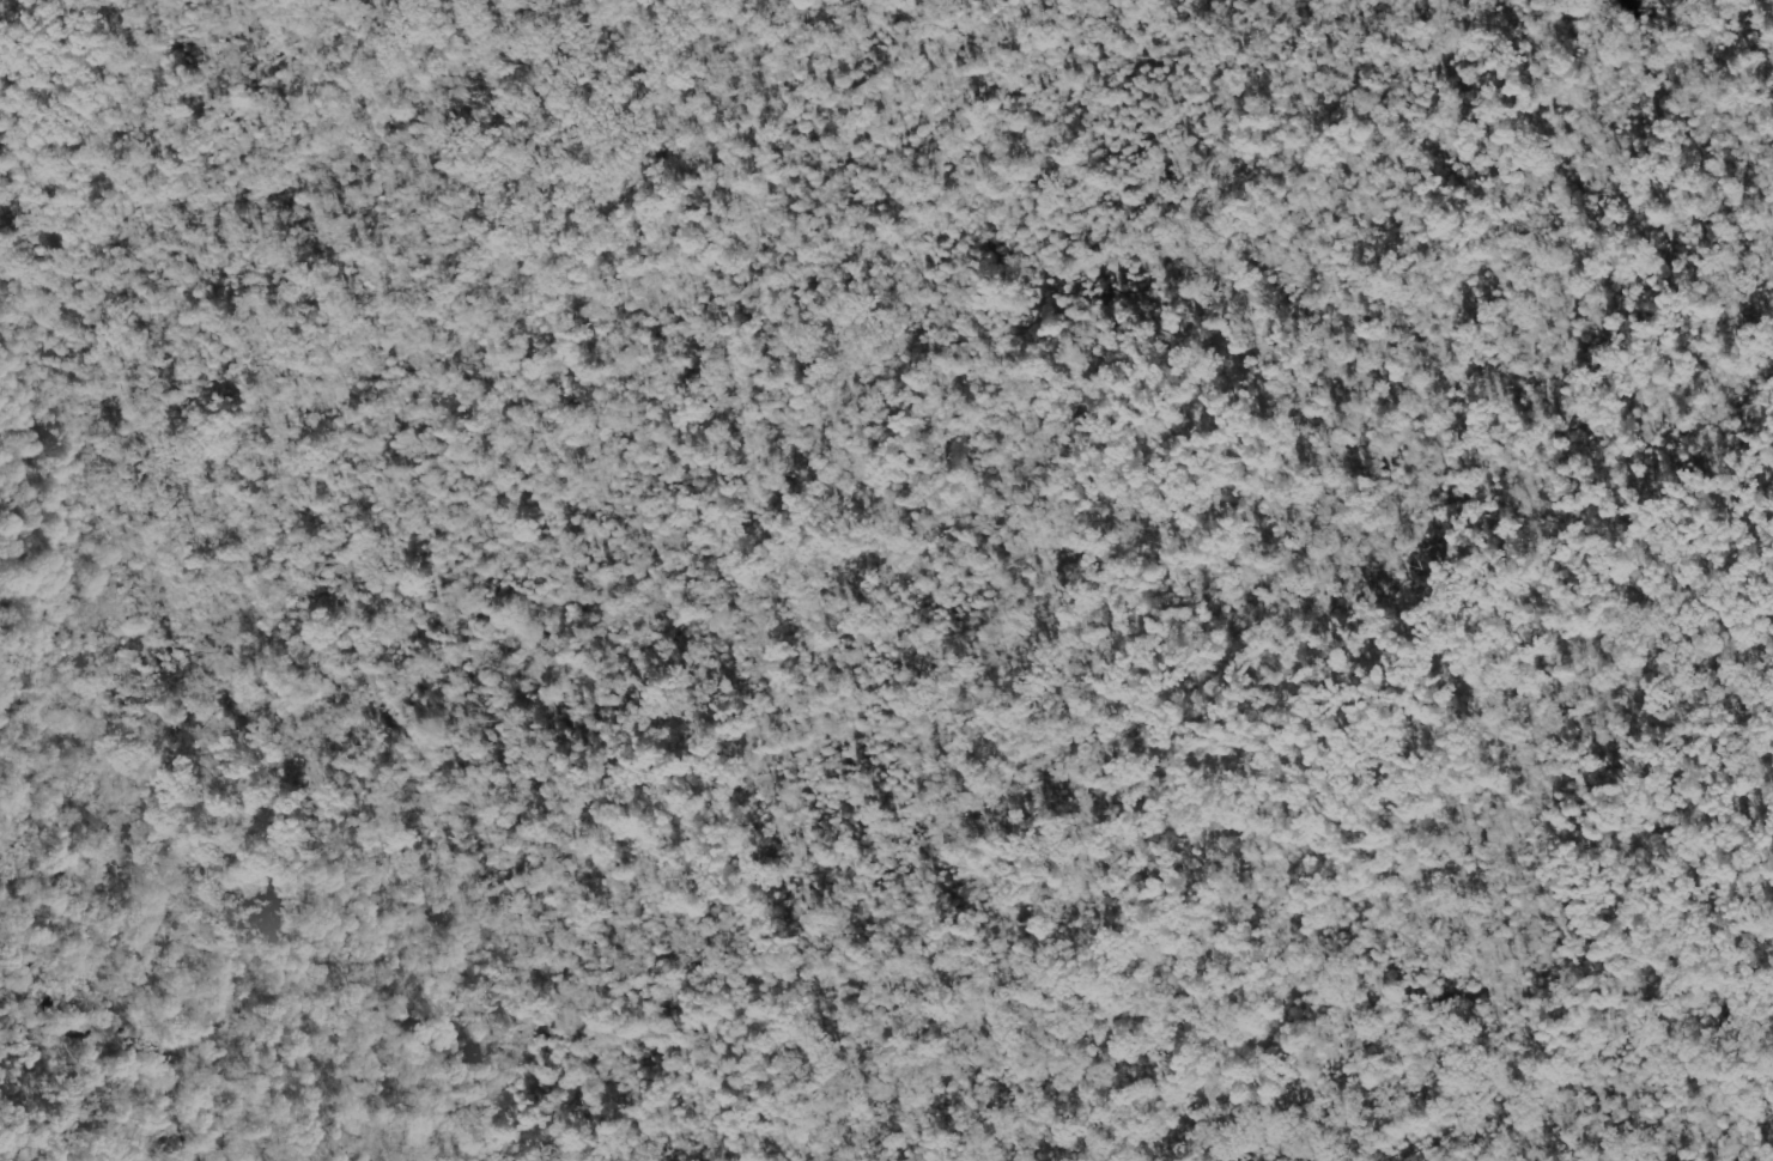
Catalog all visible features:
road: (1510, 594)

